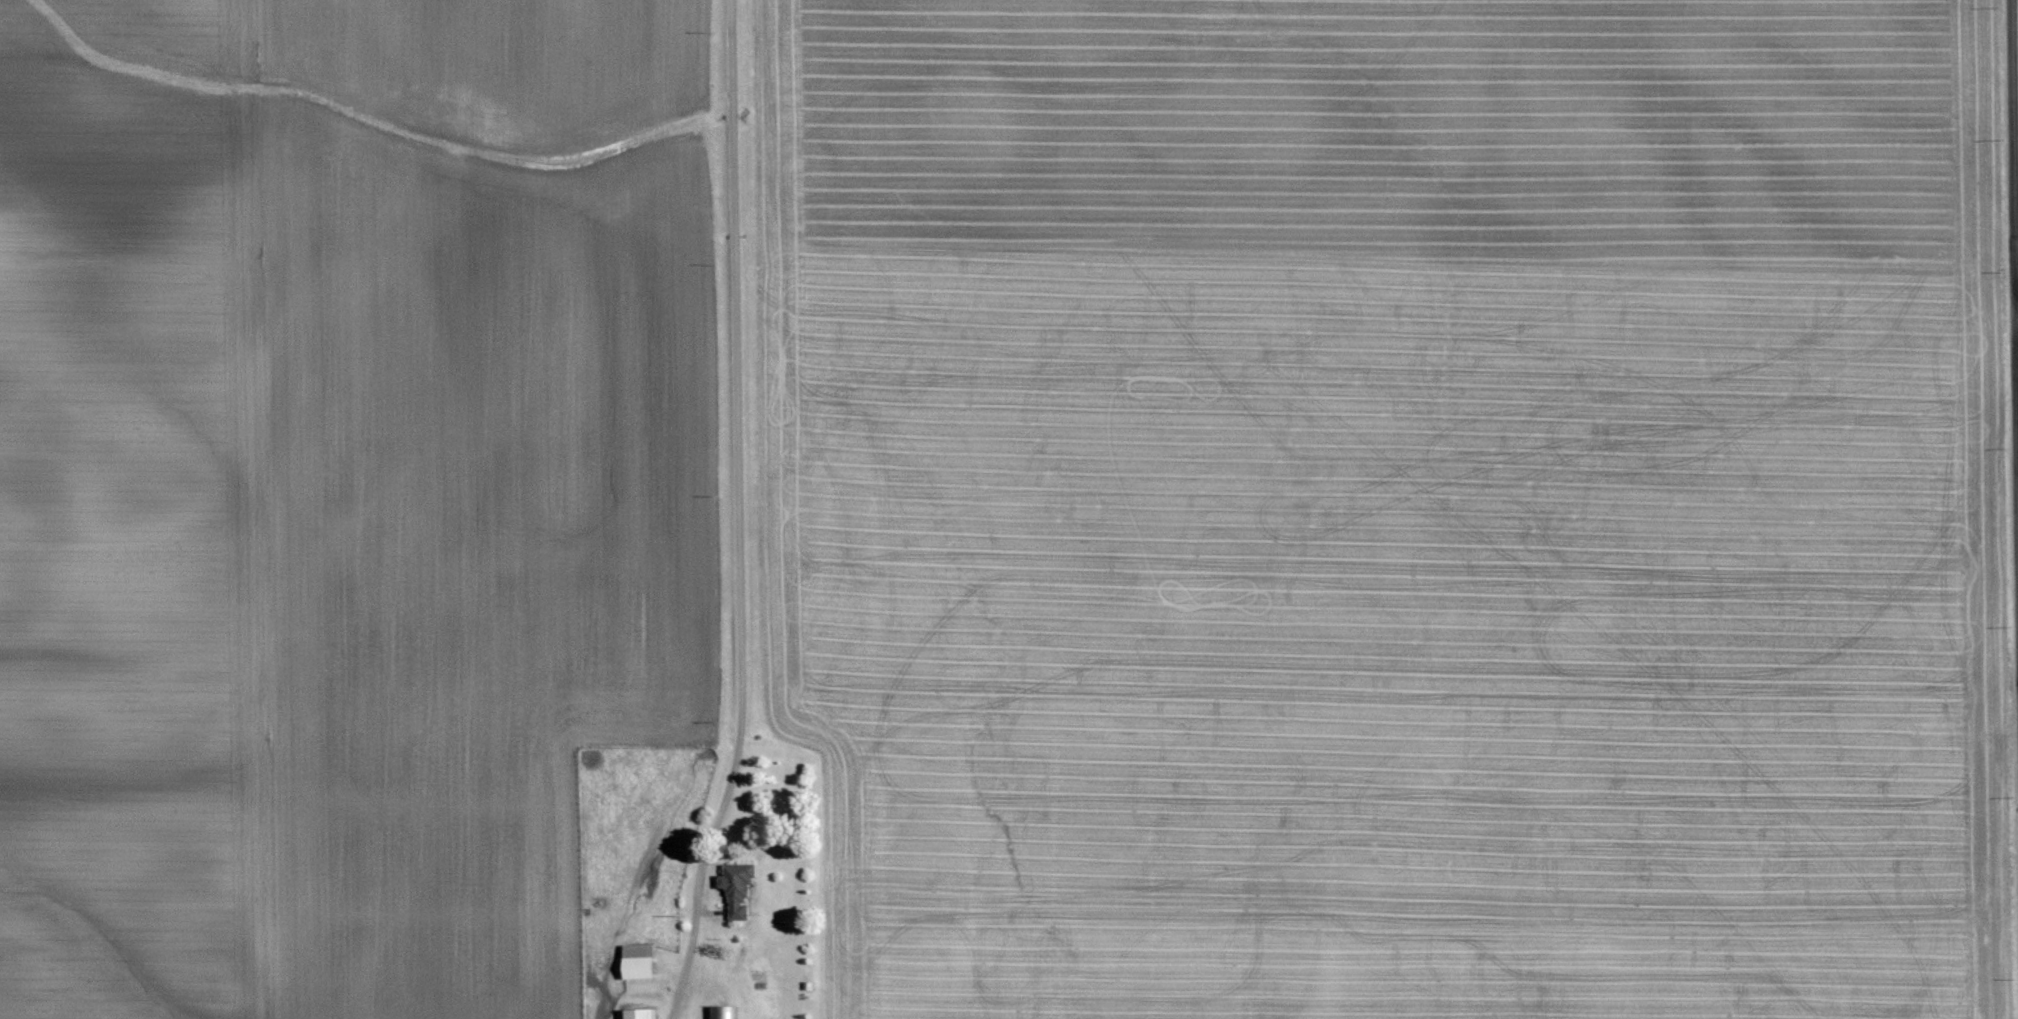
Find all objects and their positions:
road: (2015, 308)
road: (2012, 328)
road: (739, 514)
building: (736, 888)
building: (638, 962)
building: (638, 1014)

